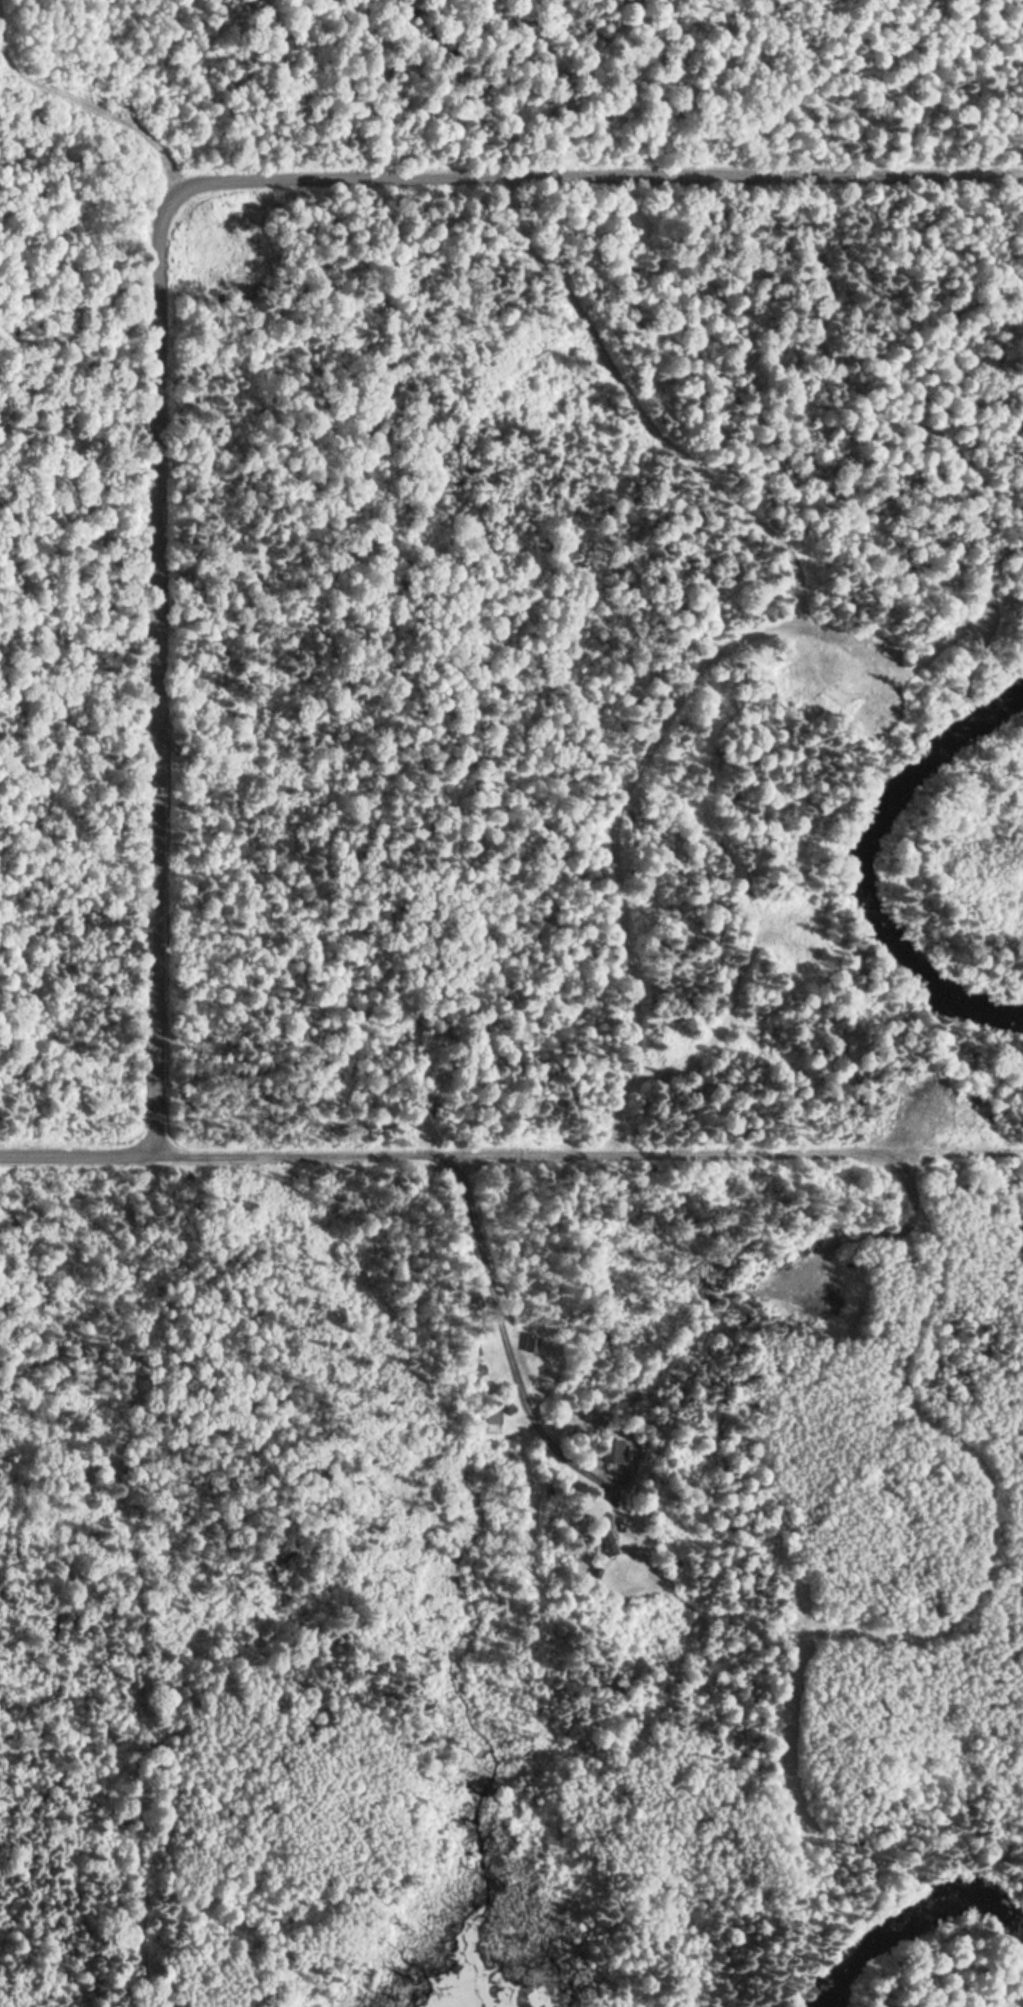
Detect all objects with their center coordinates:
road: (156, 245)
river: (999, 730)
river: (879, 923)
road: (511, 1152)
building: (527, 1344)
road: (511, 1379)
building: (607, 1451)
building: (601, 1543)
river: (940, 1956)

